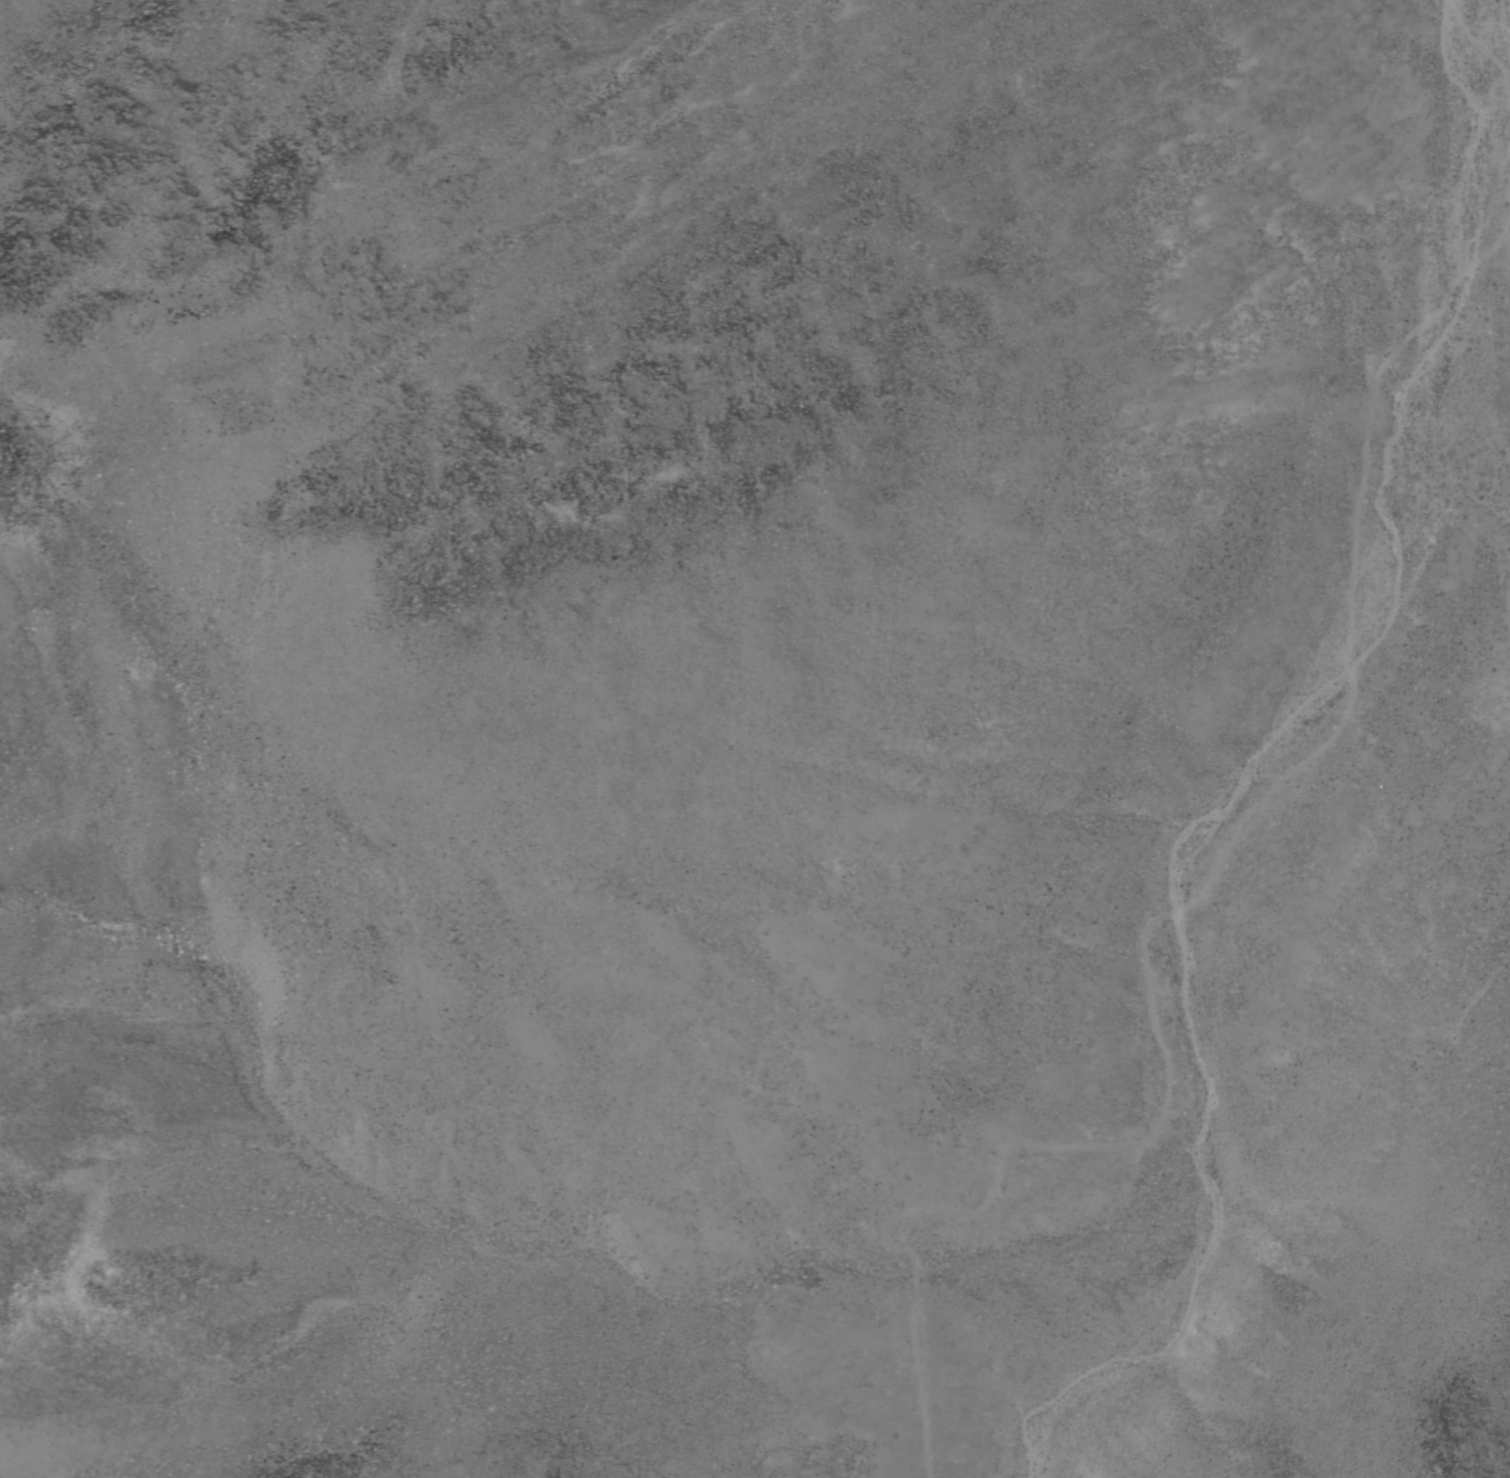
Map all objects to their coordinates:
road: (1452, 336)

